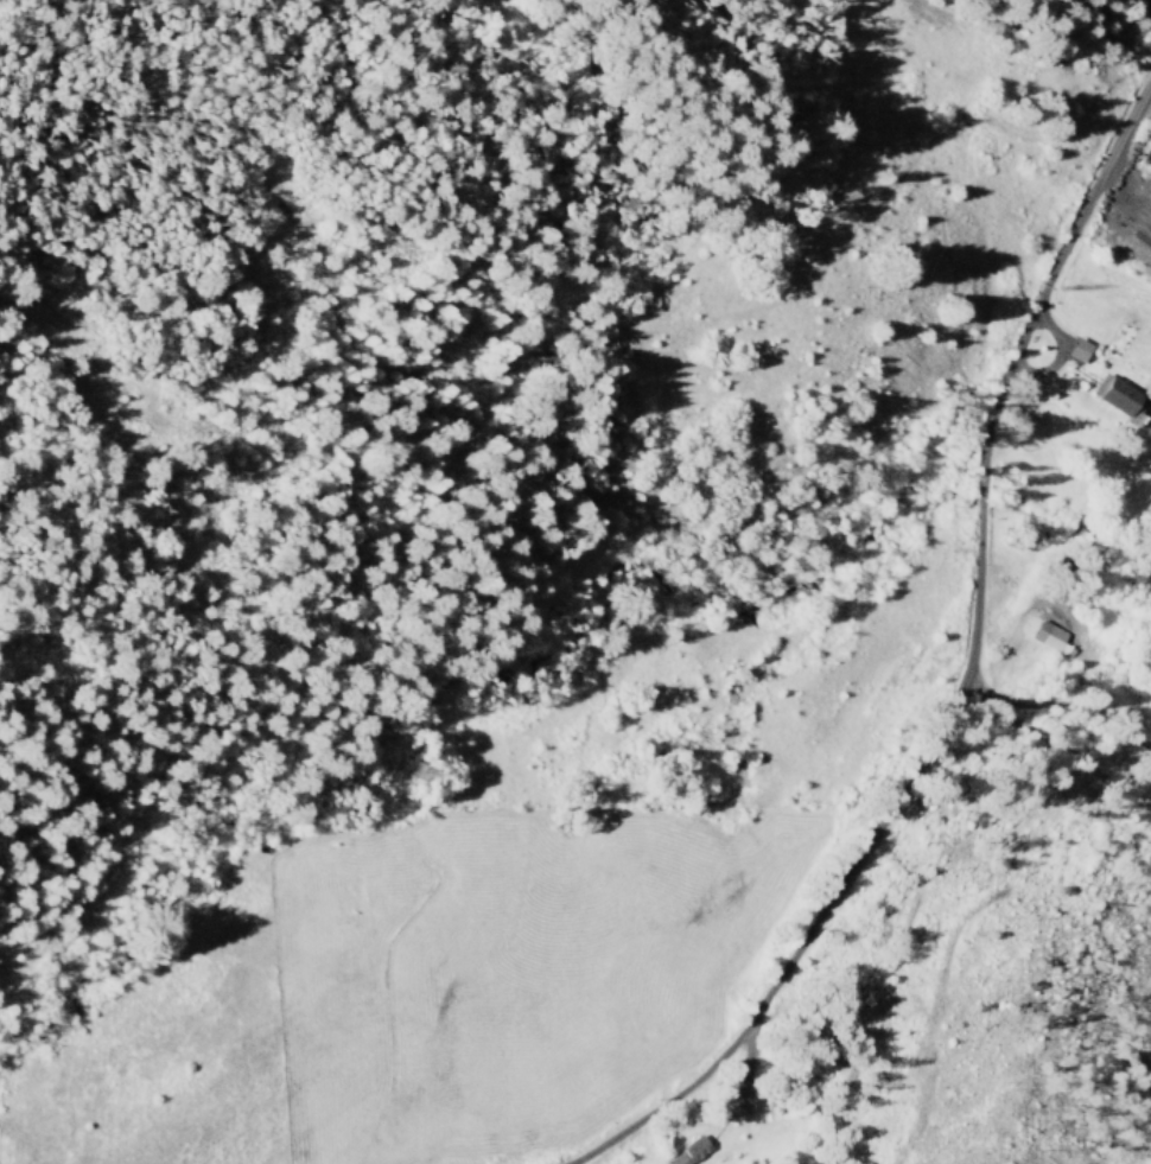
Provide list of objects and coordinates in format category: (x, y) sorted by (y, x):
road: (950, 197)
building: (1079, 349)
building: (1124, 394)
building: (1048, 635)
road: (935, 742)
building: (687, 1151)

